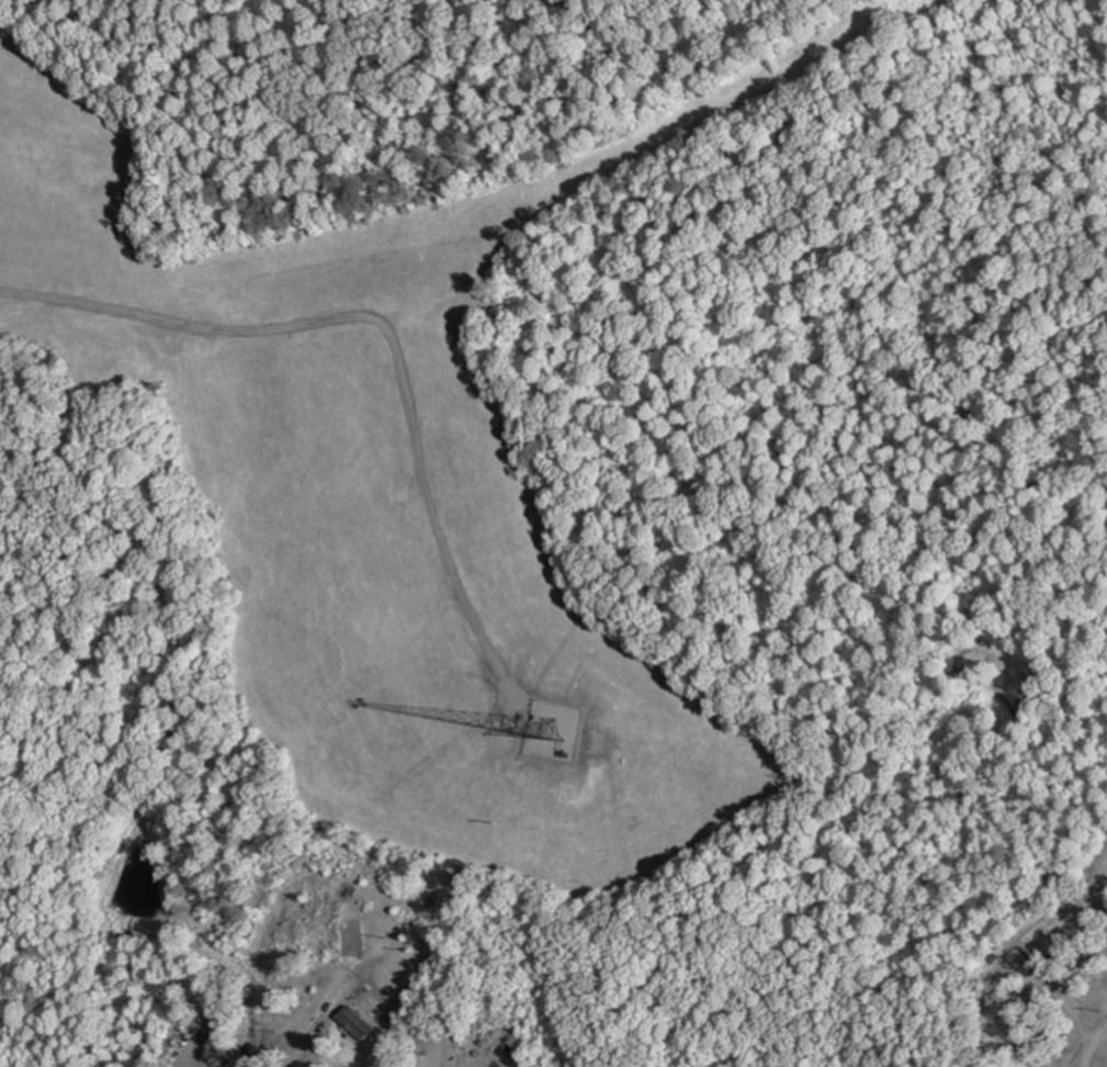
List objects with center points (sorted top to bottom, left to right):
road: (389, 322)
building: (352, 940)
building: (1023, 953)
road: (1073, 1002)
building: (361, 1024)
road: (1092, 1044)

